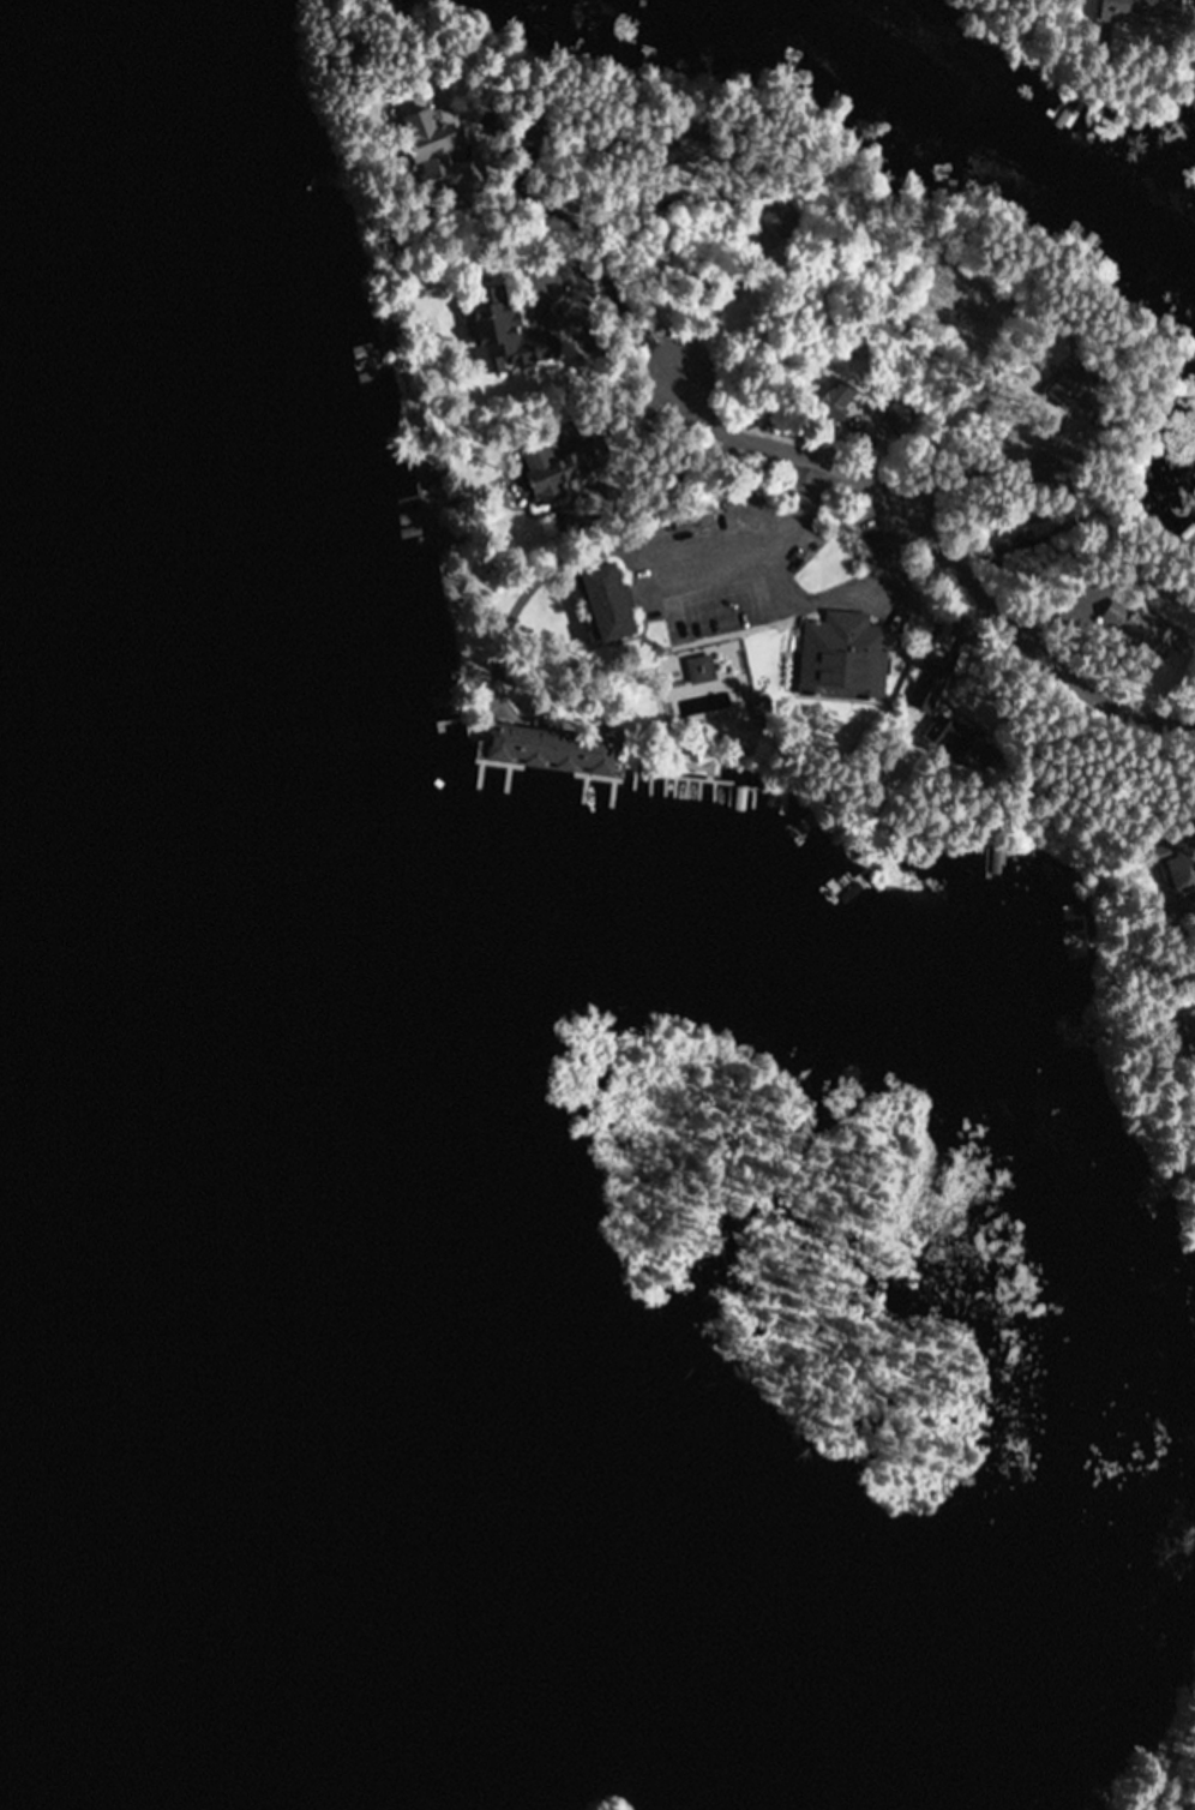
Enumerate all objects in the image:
building: (1131, 11)
building: (430, 150)
building: (677, 156)
building: (780, 218)
building: (504, 335)
building: (396, 346)
building: (1068, 389)
building: (1046, 468)
building: (553, 473)
road: (927, 543)
building: (607, 601)
building: (1130, 621)
building: (870, 666)
building: (701, 667)
building: (929, 687)
building: (948, 731)
building: (550, 748)
building: (1178, 864)
river: (64, 1732)

